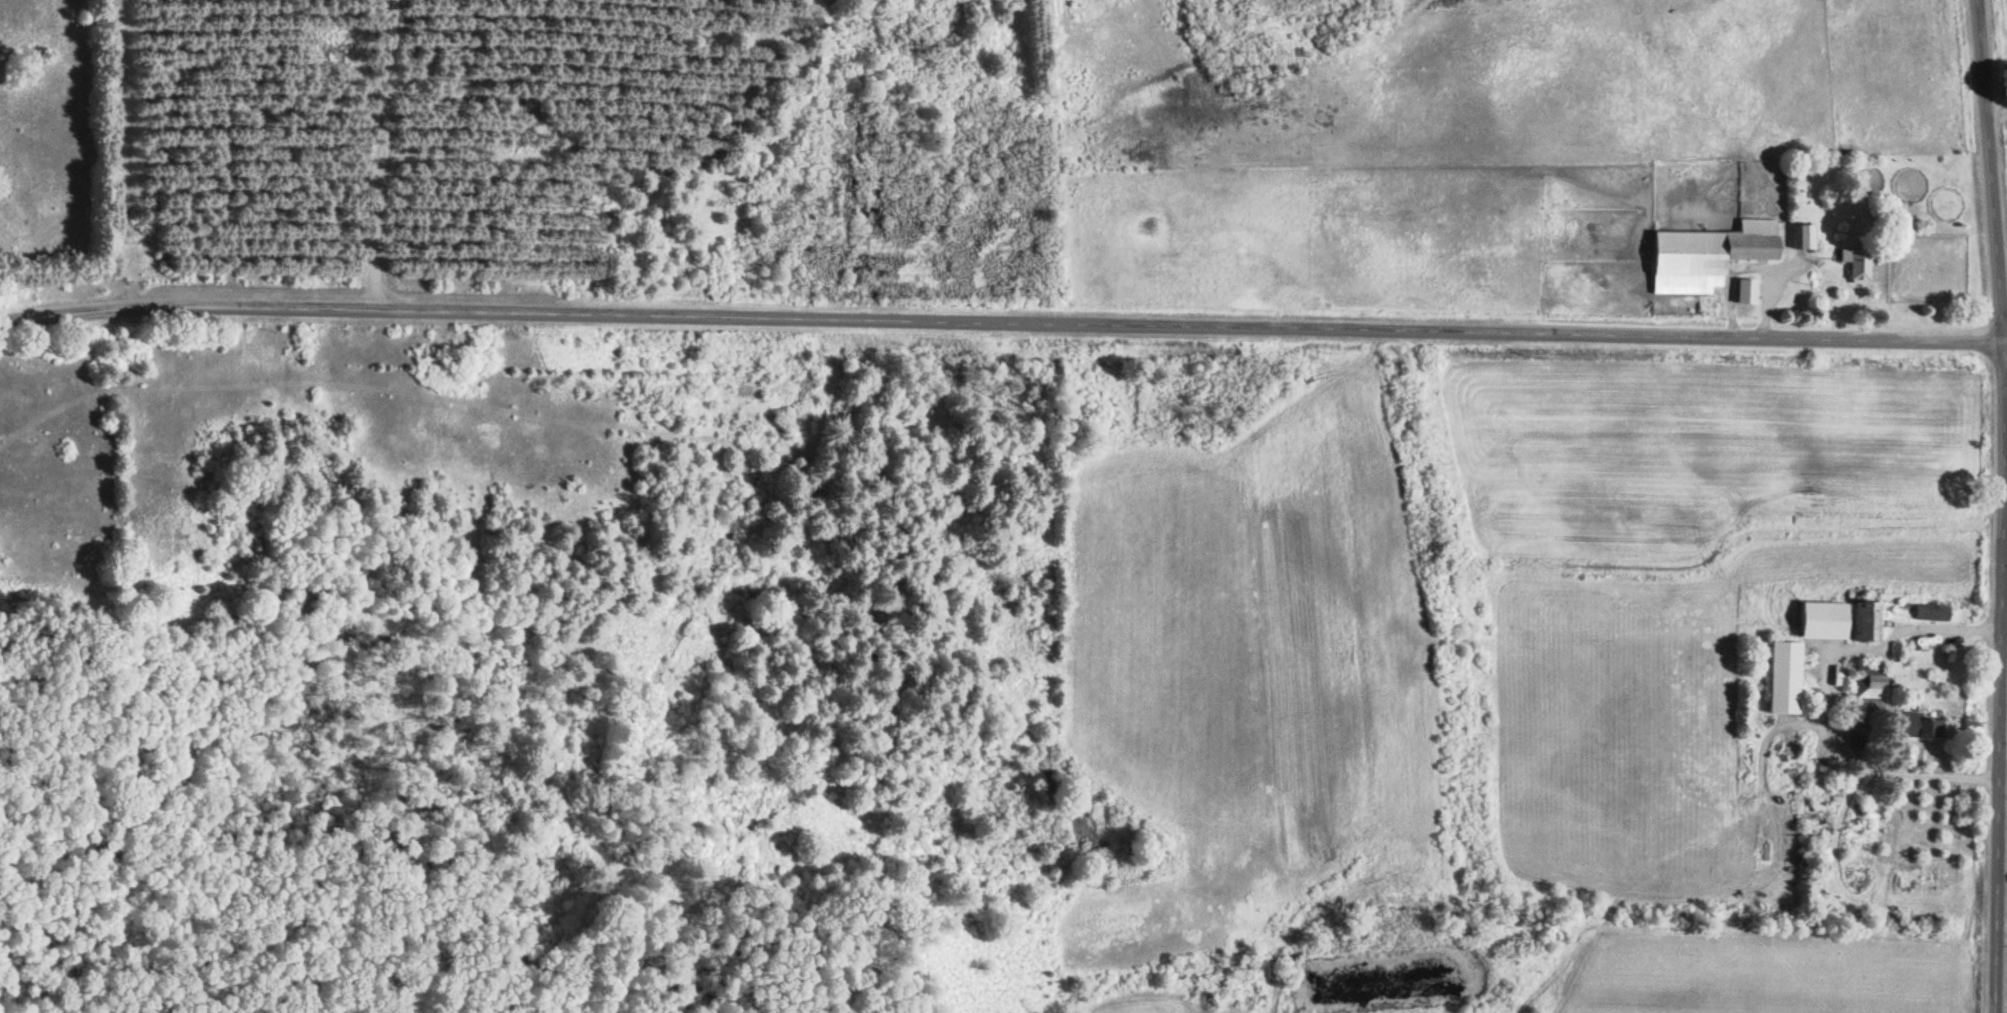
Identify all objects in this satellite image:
building: (1802, 237)
building: (1704, 256)
building: (1853, 265)
building: (1743, 292)
road: (1003, 321)
road: (1999, 506)
building: (1819, 619)
building: (1861, 620)
building: (1780, 676)
road: (387, 683)
building: (1872, 686)
building: (1916, 724)

